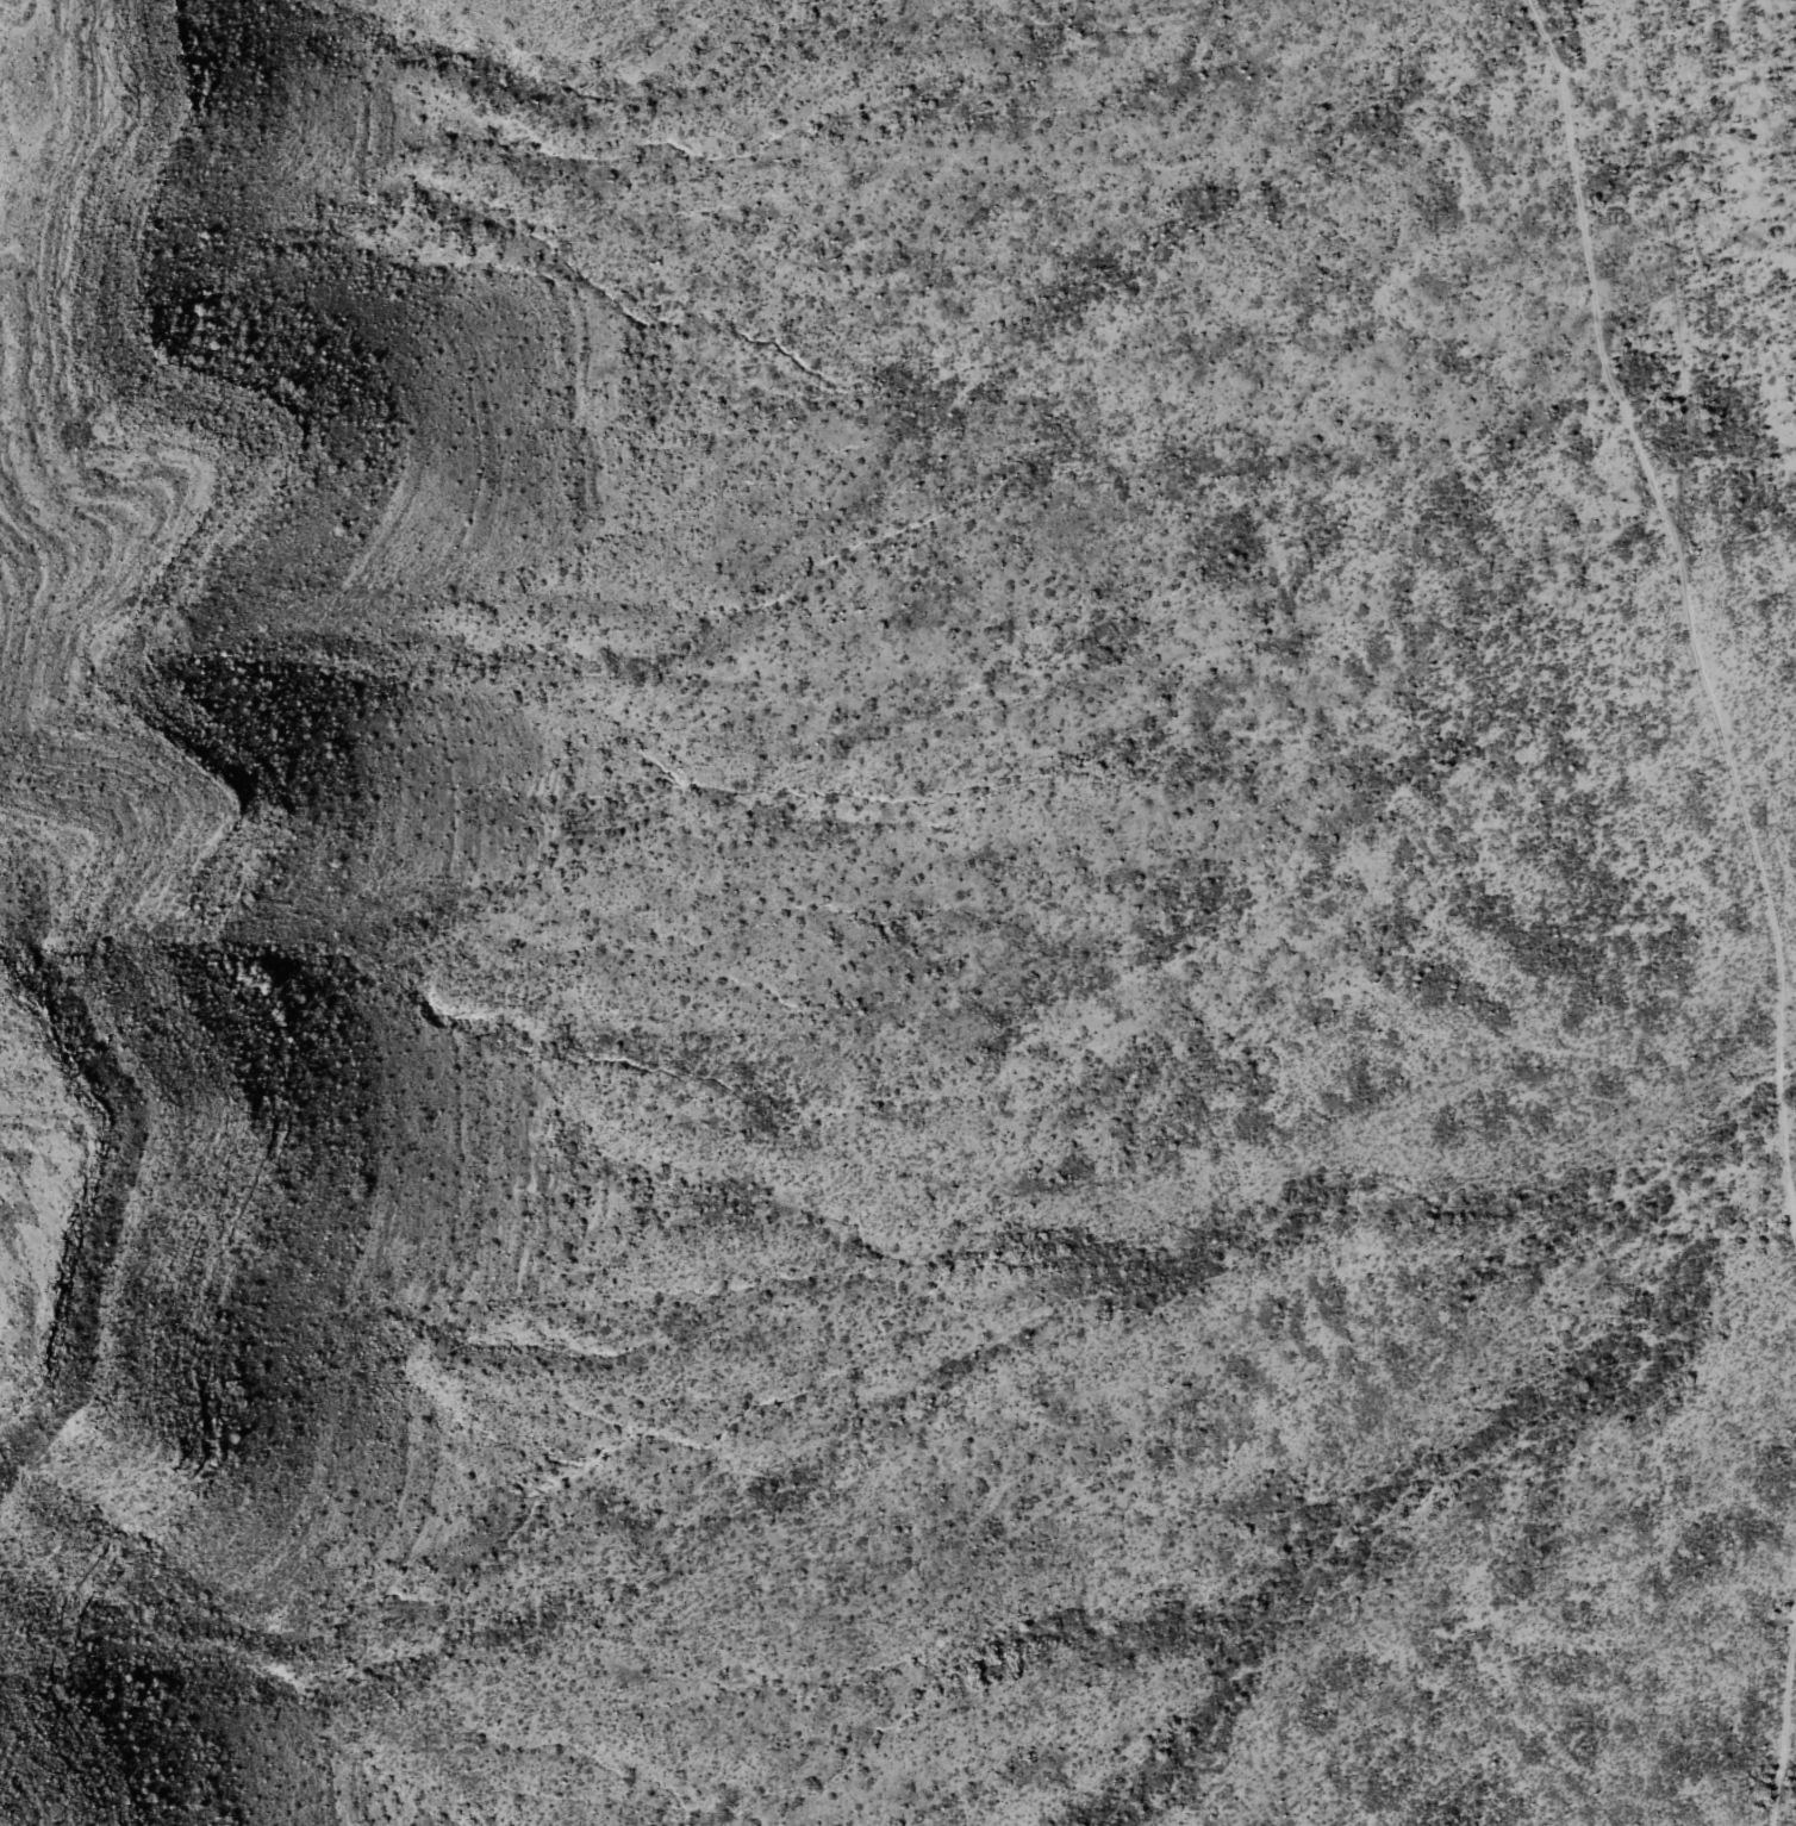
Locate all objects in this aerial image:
road: (1713, 517)
road: (1786, 1759)

